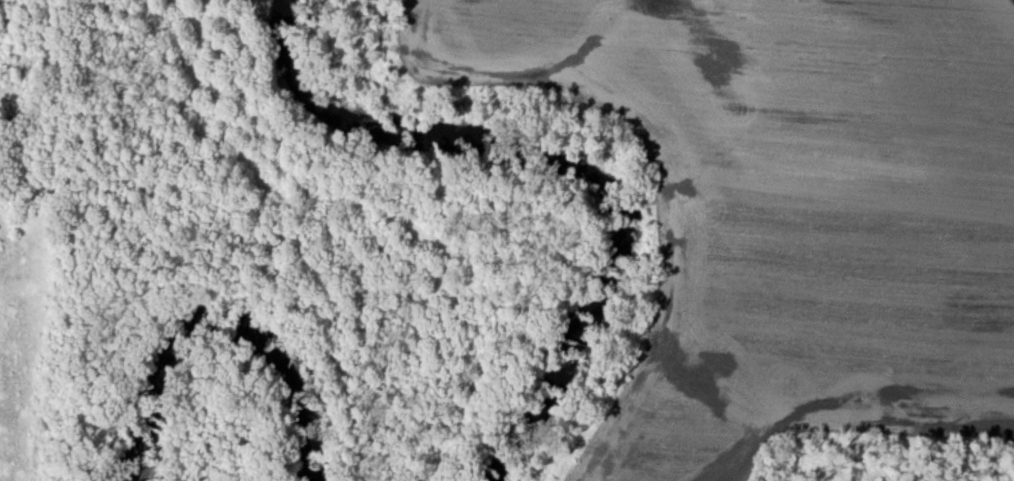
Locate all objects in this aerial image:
river: (546, 177)
river: (226, 334)

